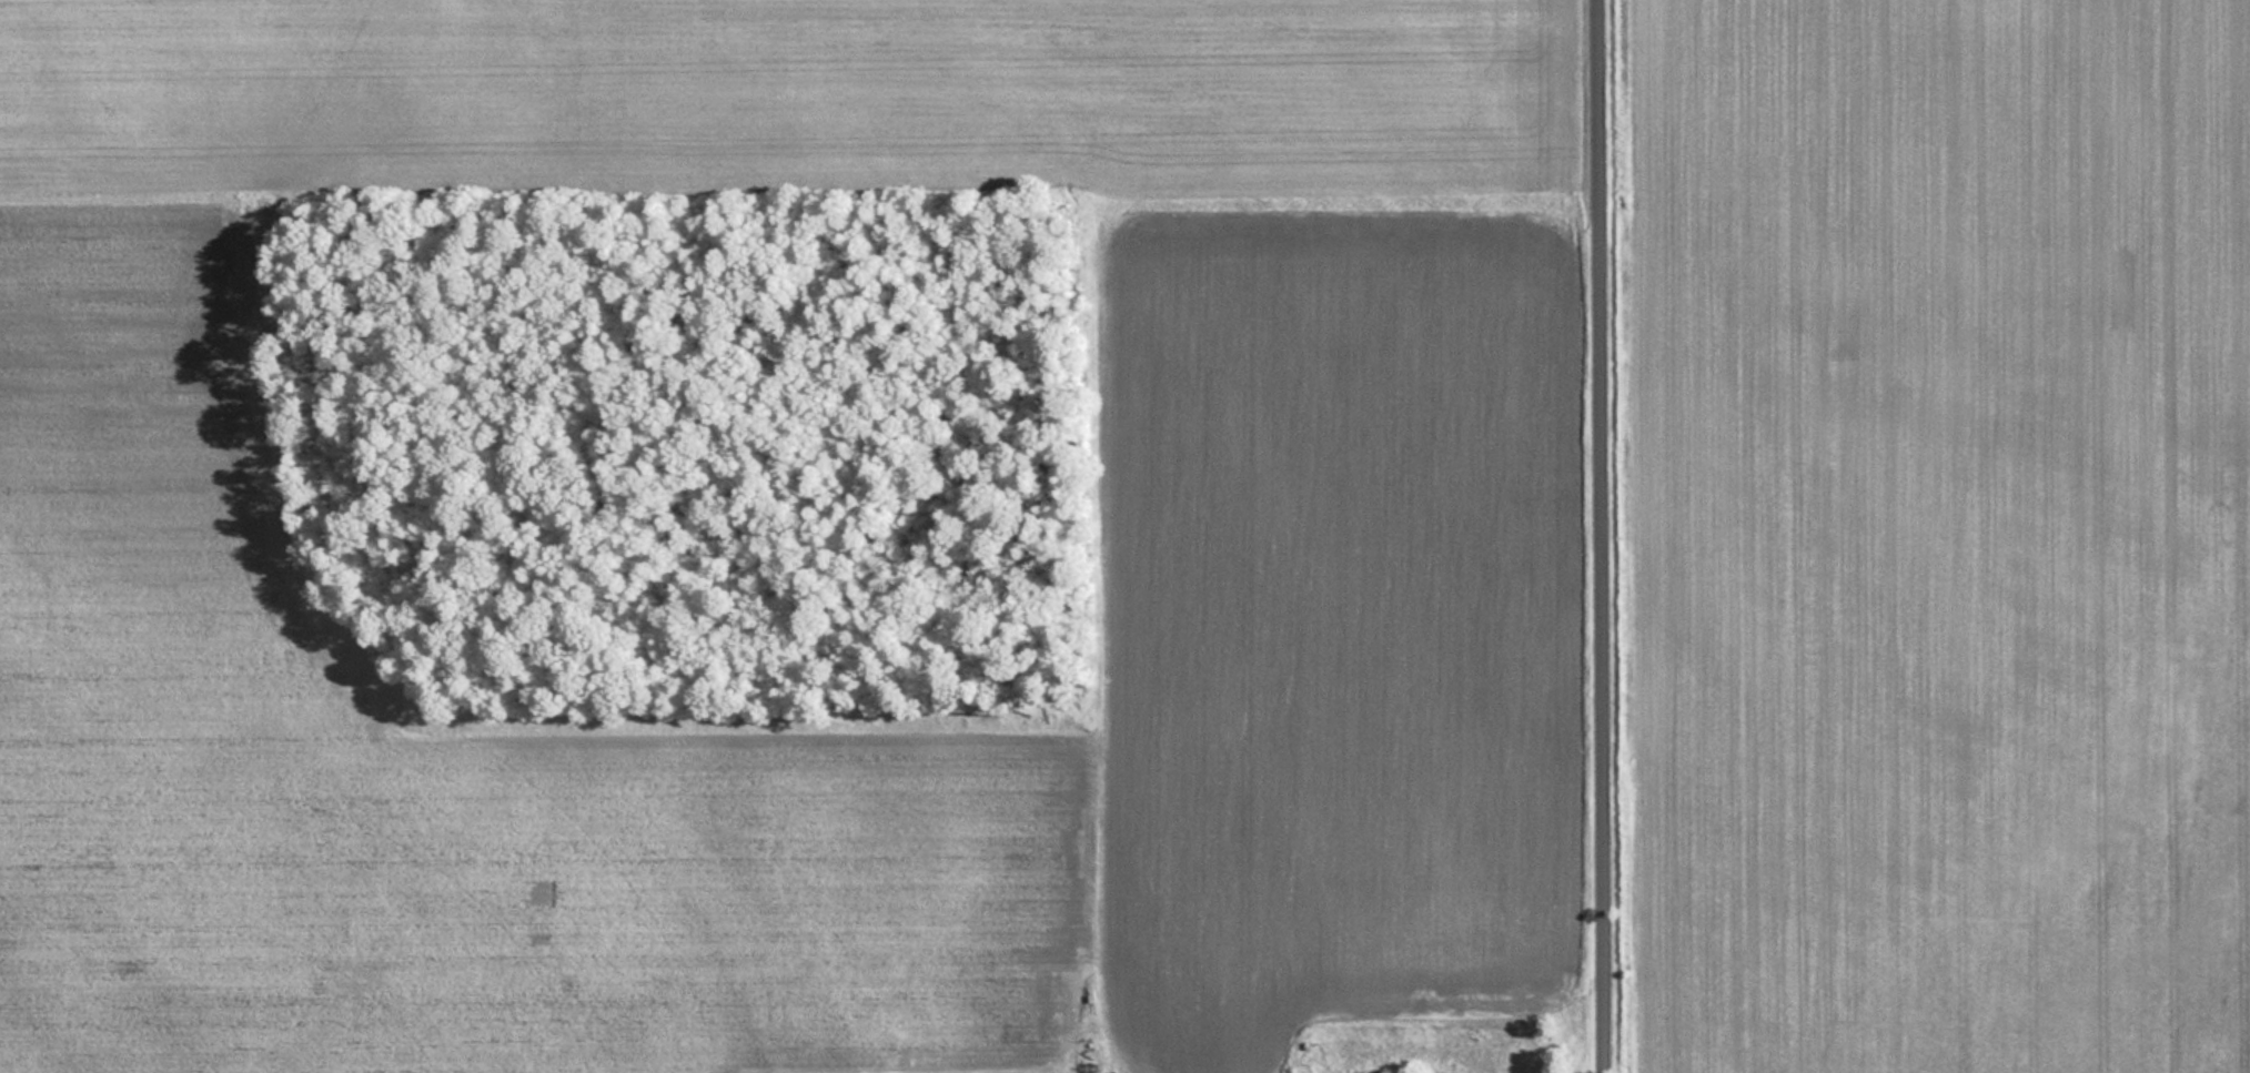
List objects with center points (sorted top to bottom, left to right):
road: (1605, 536)

